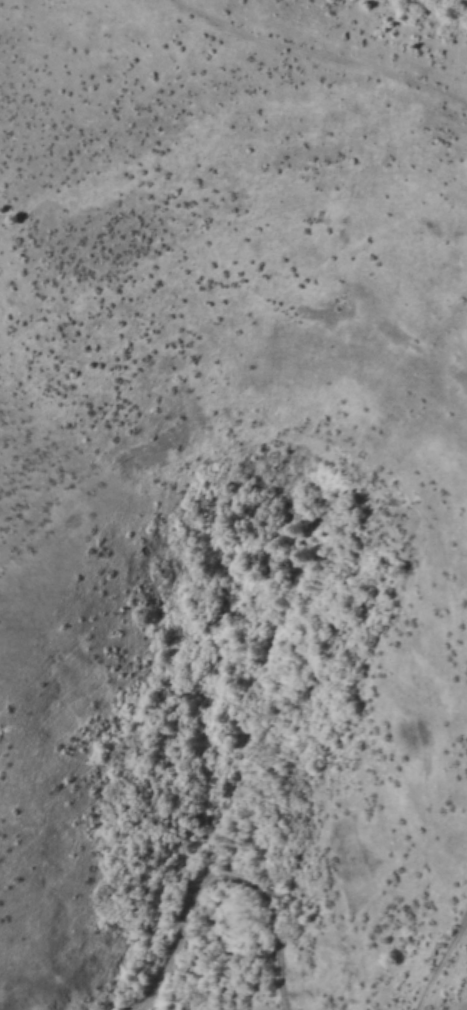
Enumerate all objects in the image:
road: (227, 852)
road: (453, 980)

